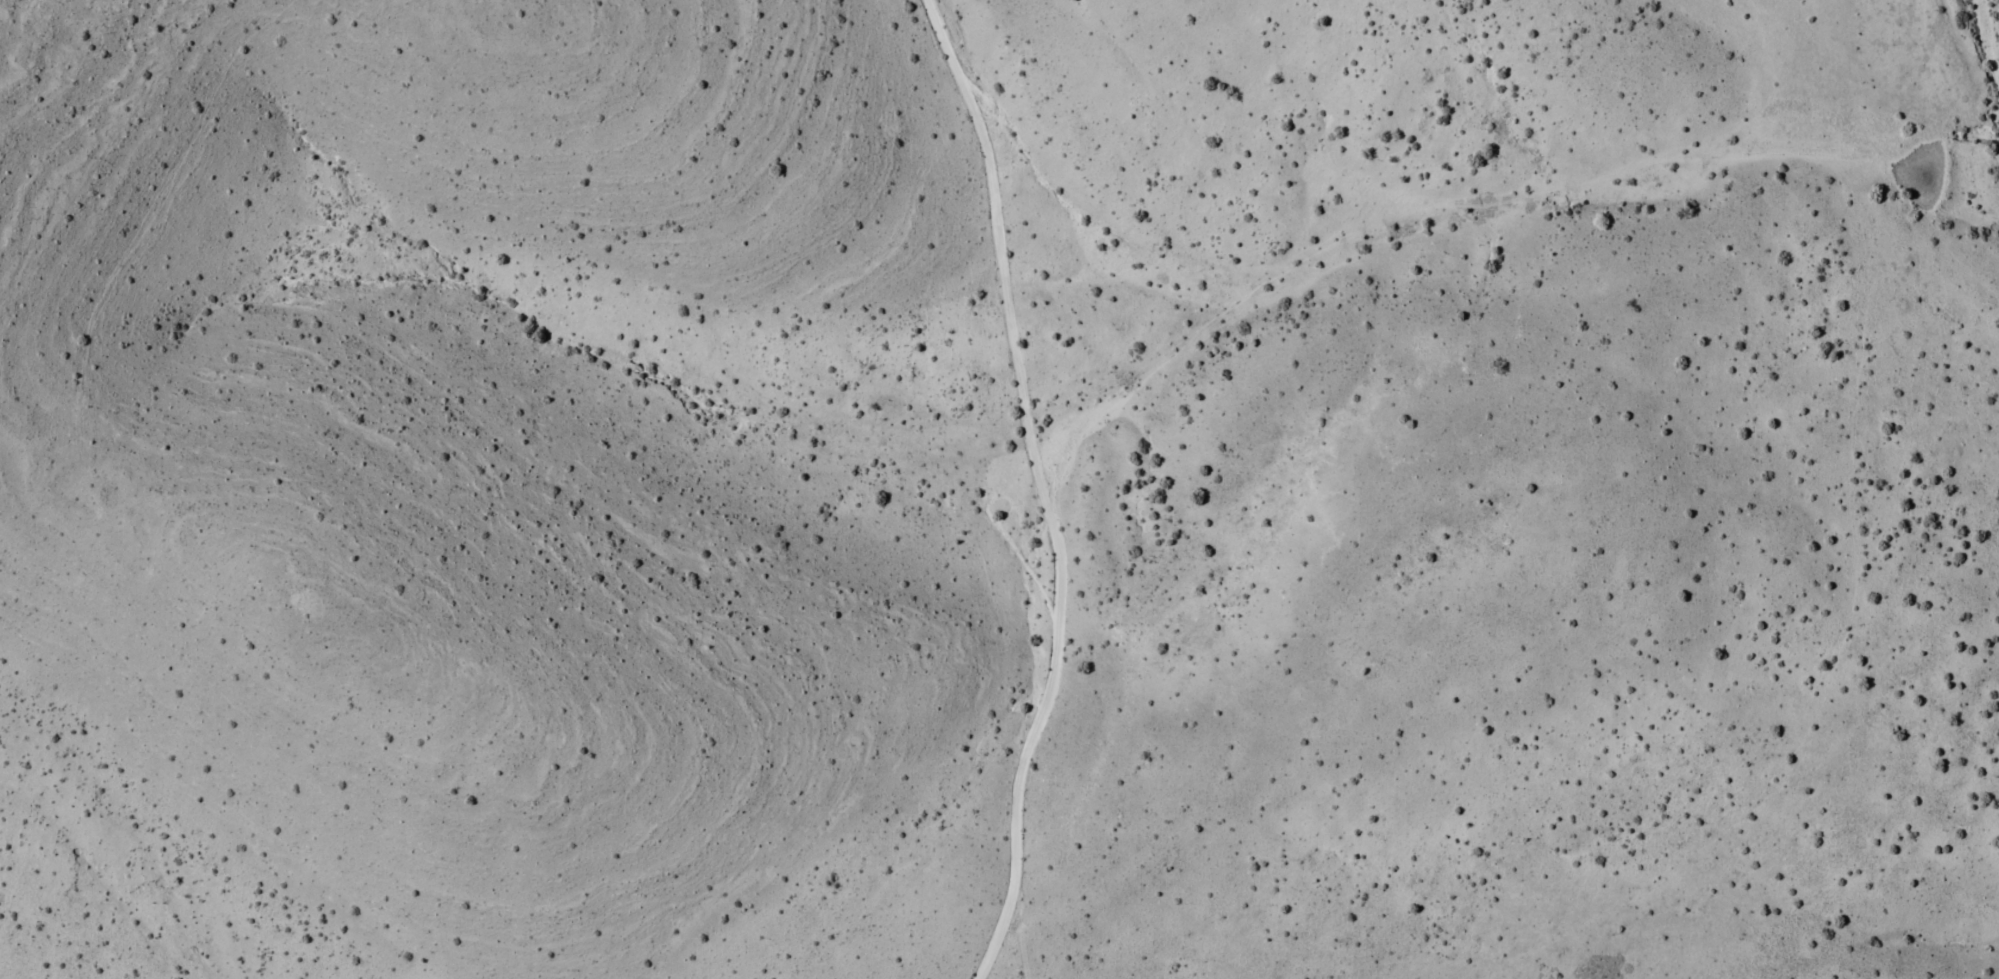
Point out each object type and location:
road: (1041, 489)
road: (1000, 964)

